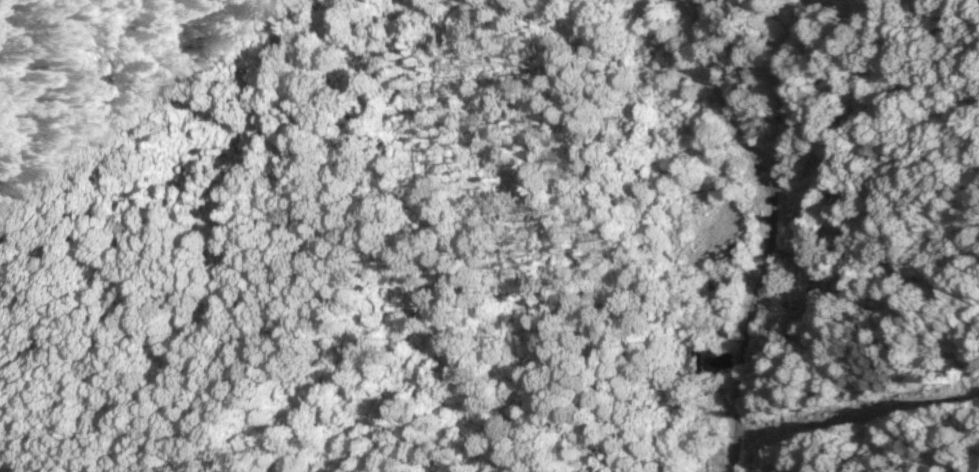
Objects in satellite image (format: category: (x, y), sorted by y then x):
road: (772, 236)
building: (737, 252)

